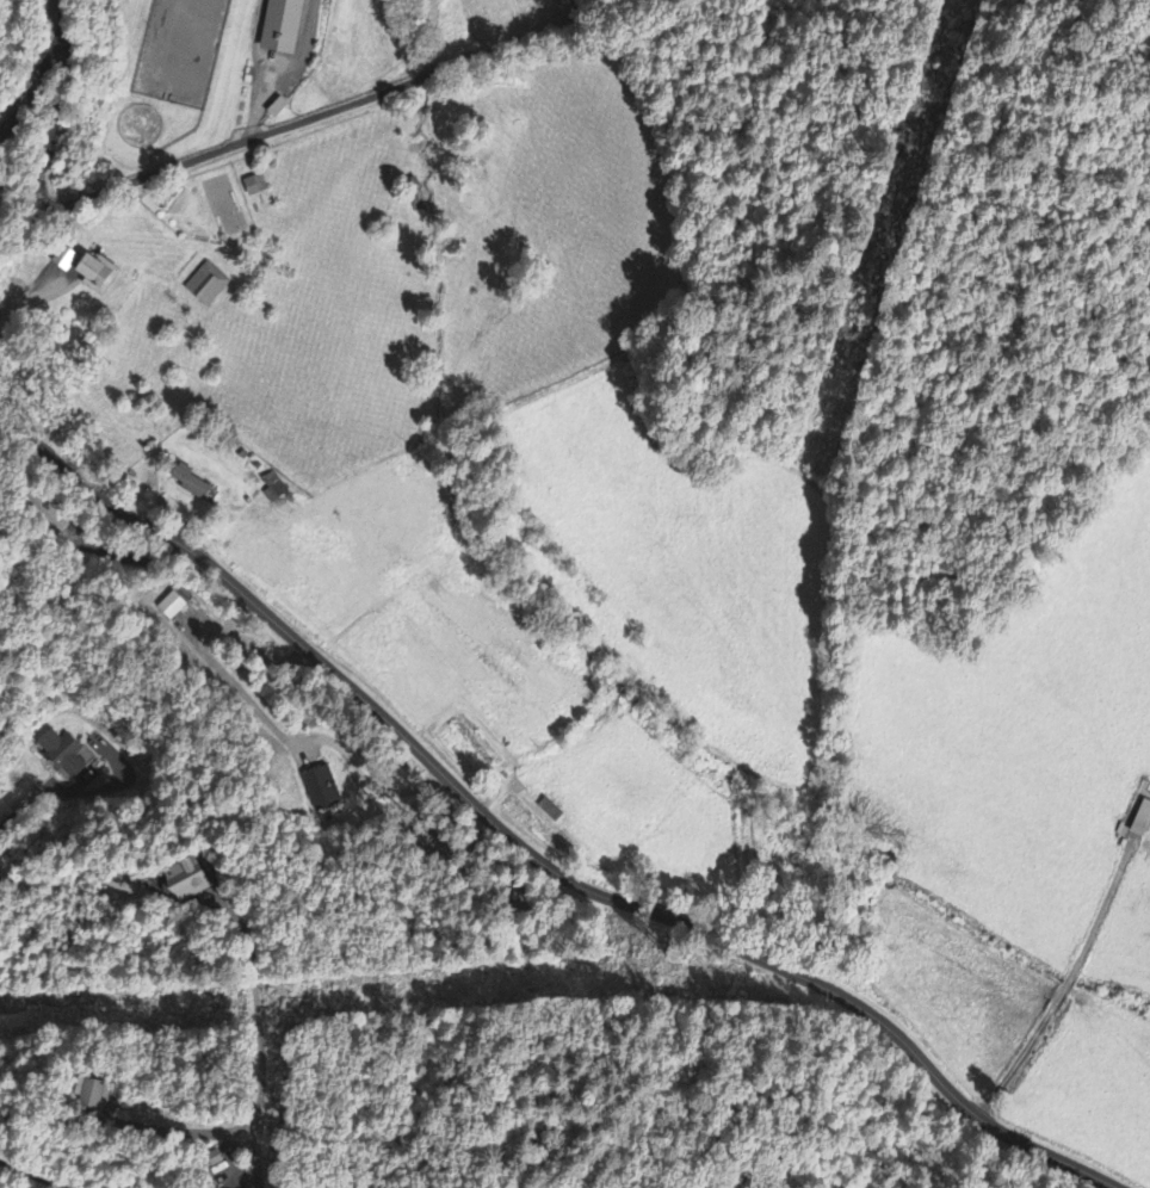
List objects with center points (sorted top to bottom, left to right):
building: (282, 27)
road: (44, 72)
road: (241, 141)
building: (251, 188)
building: (97, 277)
building: (206, 286)
building: (190, 483)
building: (171, 607)
building: (61, 755)
building: (317, 787)
building: (1142, 821)
road: (530, 855)
building: (187, 880)
building: (87, 1094)
road: (148, 1128)
road: (31, 1175)

